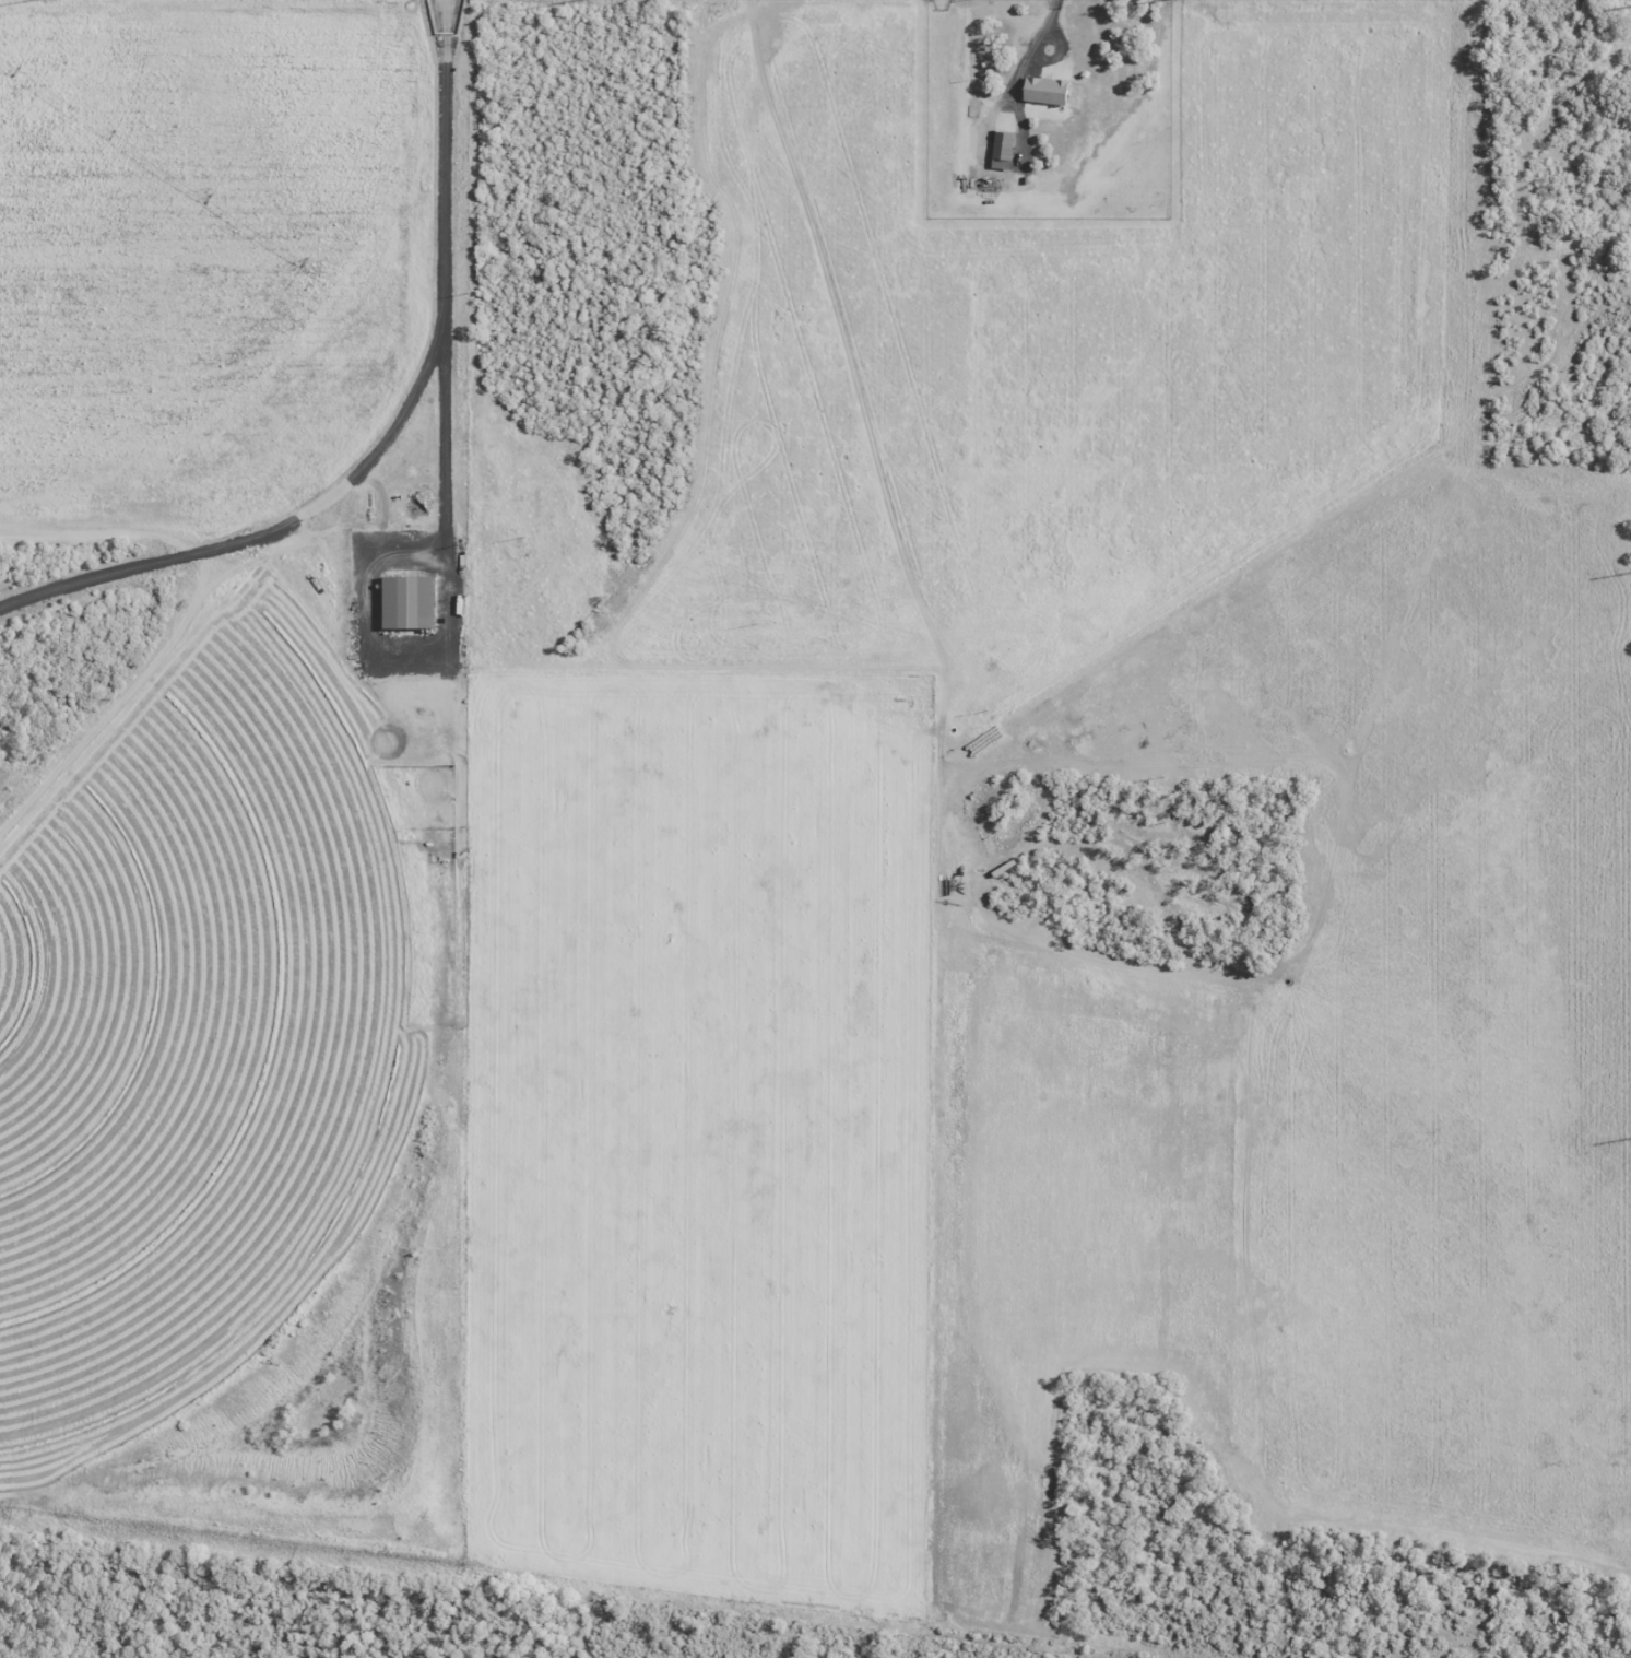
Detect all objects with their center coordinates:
building: (1049, 91)
road: (445, 313)
road: (275, 530)
building: (413, 603)
road: (472, 1607)

